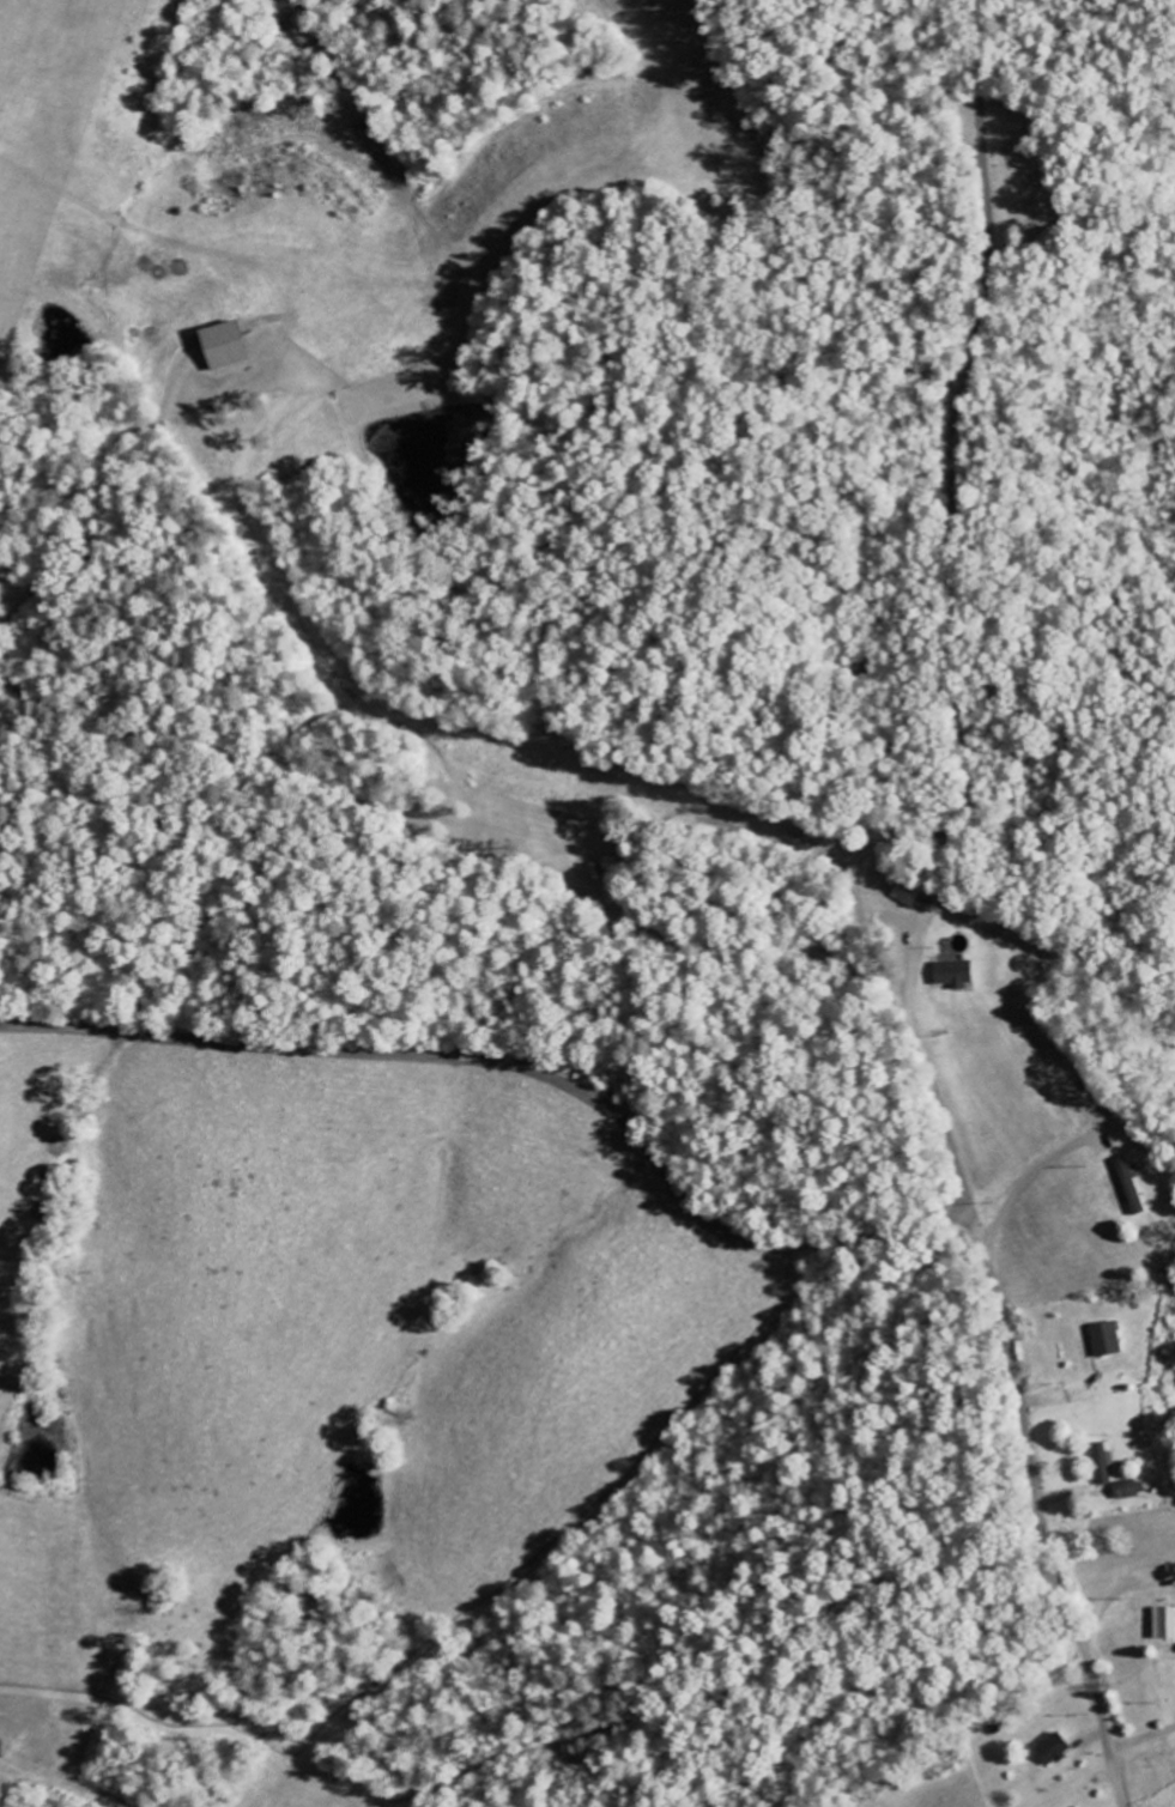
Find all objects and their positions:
building: (222, 345)
road: (955, 695)
building: (612, 866)
building: (906, 893)
building: (952, 974)
road: (519, 1066)
building: (1129, 1187)
building: (1106, 1340)
building: (1102, 1463)
building: (1129, 1490)
road: (1038, 1509)
building: (1165, 1623)
building: (1052, 1751)

